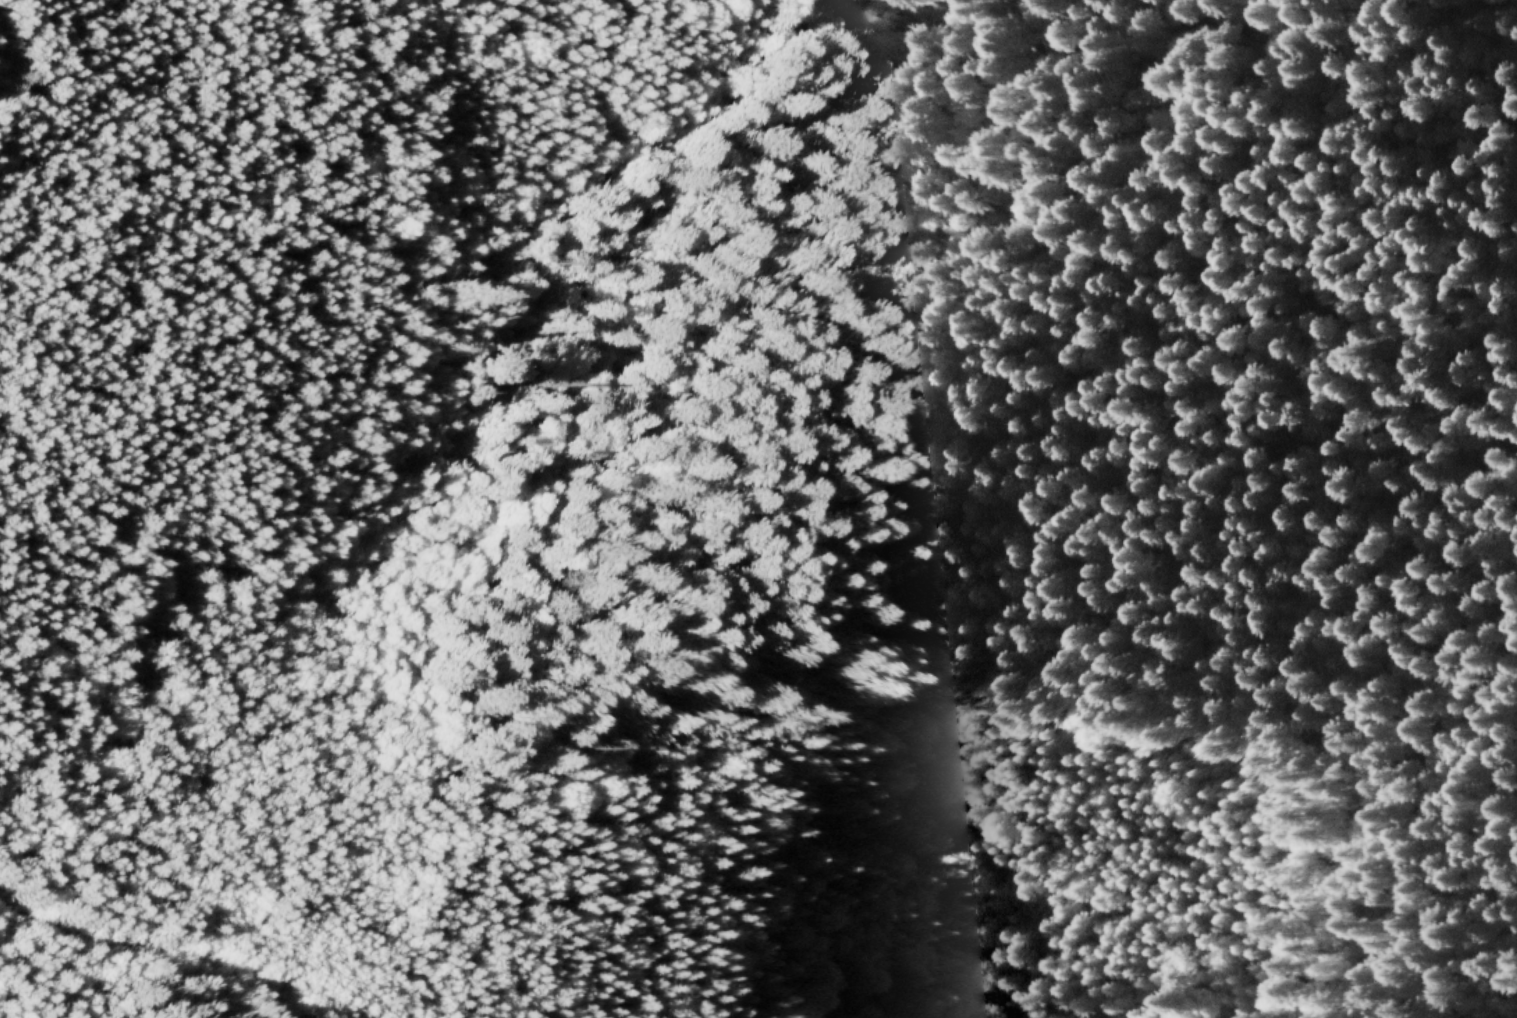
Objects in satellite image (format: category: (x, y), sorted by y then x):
road: (153, 945)

